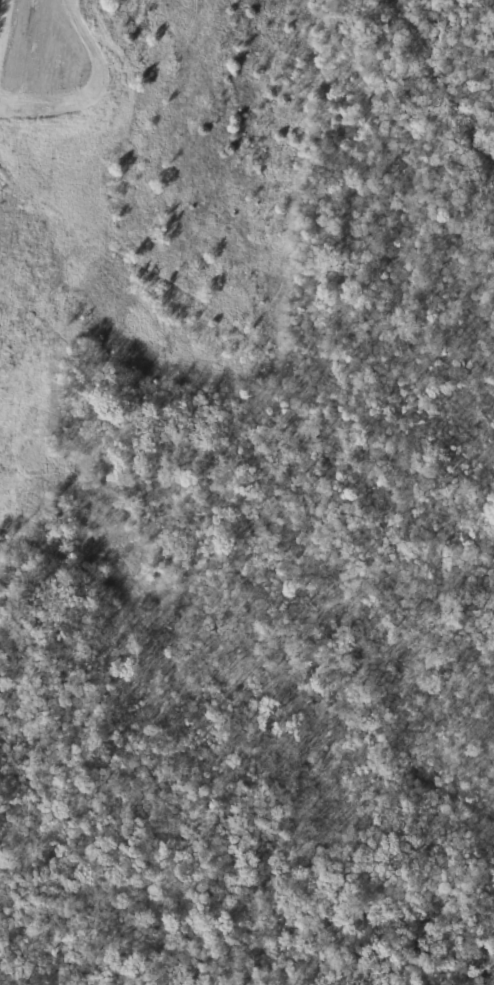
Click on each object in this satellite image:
airport runway: (24, 41)

